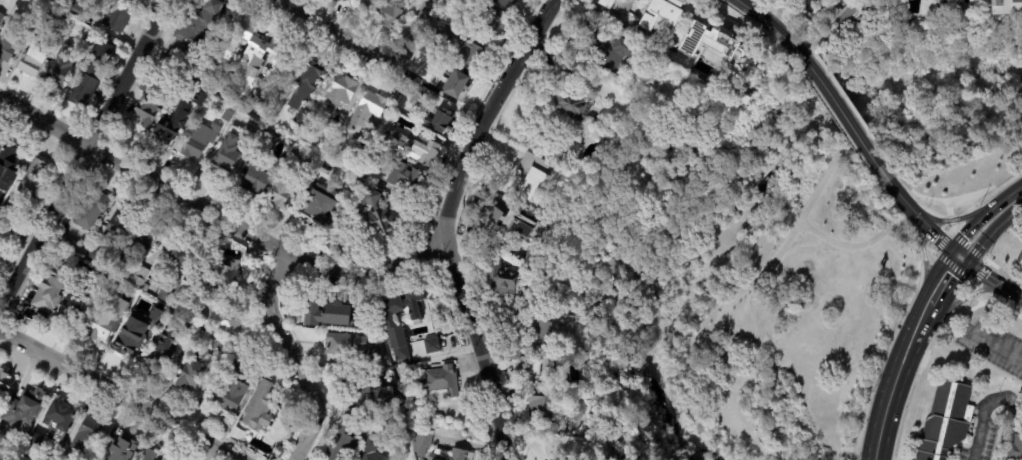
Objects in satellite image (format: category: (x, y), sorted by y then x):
building: (122, 0)
building: (334, 0)
building: (945, 0)
building: (370, 1)
building: (100, 2)
building: (505, 2)
building: (468, 3)
building: (1011, 3)
building: (352, 4)
building: (821, 4)
building: (613, 8)
building: (942, 9)
building: (77, 10)
building: (658, 13)
building: (1, 15)
building: (851, 16)
building: (389, 17)
building: (116, 19)
building: (63, 21)
building: (199, 23)
building: (491, 23)
road: (777, 28)
road: (339, 29)
road: (414, 29)
building: (91, 37)
building: (10, 39)
building: (111, 41)
building: (725, 41)
building: (609, 48)
building: (107, 50)
building: (464, 51)
building: (32, 62)
building: (250, 65)
building: (59, 67)
building: (85, 83)
building: (453, 84)
building: (307, 85)
building: (100, 90)
building: (340, 93)
building: (418, 96)
building: (597, 97)
building: (199, 98)
building: (576, 103)
park: (946, 104)
building: (148, 110)
building: (367, 111)
road: (843, 111)
building: (227, 114)
road: (271, 117)
road: (46, 120)
building: (174, 123)
building: (441, 123)
building: (252, 131)
building: (329, 134)
building: (200, 139)
building: (265, 142)
building: (416, 150)
road: (86, 154)
building: (225, 157)
building: (9, 165)
building: (307, 173)
building: (372, 176)
building: (35, 177)
building: (533, 177)
building: (256, 179)
building: (404, 179)
building: (286, 180)
building: (354, 187)
building: (368, 189)
building: (370, 198)
building: (320, 206)
building: (91, 208)
road: (909, 208)
building: (5, 209)
building: (493, 215)
road: (984, 215)
road: (949, 218)
building: (2, 221)
building: (377, 223)
road: (448, 223)
building: (120, 225)
road: (797, 225)
building: (517, 226)
road: (991, 231)
road: (262, 240)
building: (142, 243)
building: (70, 244)
road: (860, 244)
building: (1, 250)
traffic signals: (950, 250)
road: (921, 251)
building: (93, 254)
road: (956, 255)
building: (174, 256)
traffic signals: (963, 261)
building: (224, 272)
road: (982, 274)
building: (140, 276)
building: (102, 277)
building: (504, 280)
building: (190, 283)
road: (947, 283)
park: (743, 288)
road: (912, 288)
building: (50, 290)
road: (1011, 292)
building: (165, 294)
building: (129, 296)
building: (414, 303)
road: (959, 304)
building: (75, 306)
building: (333, 314)
building: (157, 315)
building: (102, 320)
building: (226, 320)
road: (909, 320)
building: (394, 330)
building: (191, 331)
building: (539, 333)
building: (130, 335)
building: (345, 344)
building: (432, 345)
road: (999, 346)
building: (162, 350)
building: (374, 352)
building: (223, 354)
road: (914, 354)
road: (294, 357)
building: (529, 365)
building: (191, 373)
building: (440, 380)
building: (5, 382)
building: (362, 382)
building: (400, 383)
building: (360, 393)
building: (229, 394)
building: (386, 394)
road: (116, 396)
building: (399, 399)
building: (543, 402)
building: (260, 407)
building: (24, 409)
road: (981, 411)
building: (61, 414)
building: (947, 421)
building: (1, 427)
road: (881, 429)
building: (569, 430)
building: (87, 435)
building: (34, 438)
building: (422, 441)
building: (0, 442)
building: (343, 442)
building: (121, 447)
building: (1017, 447)
building: (371, 451)
building: (148, 455)
building: (451, 455)
building: (22, 456)
building: (62, 458)

